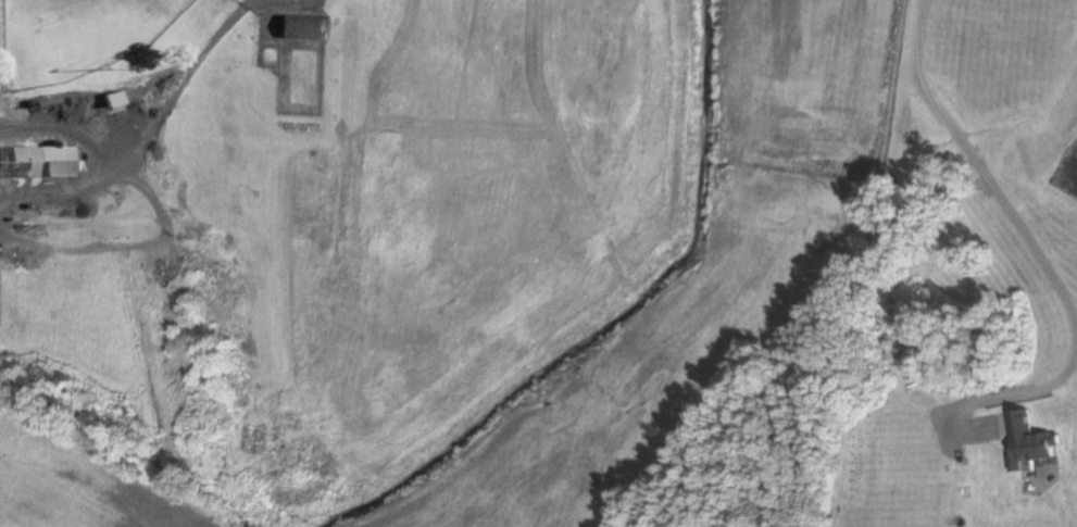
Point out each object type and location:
building: (299, 27)
park: (77, 37)
building: (35, 163)

